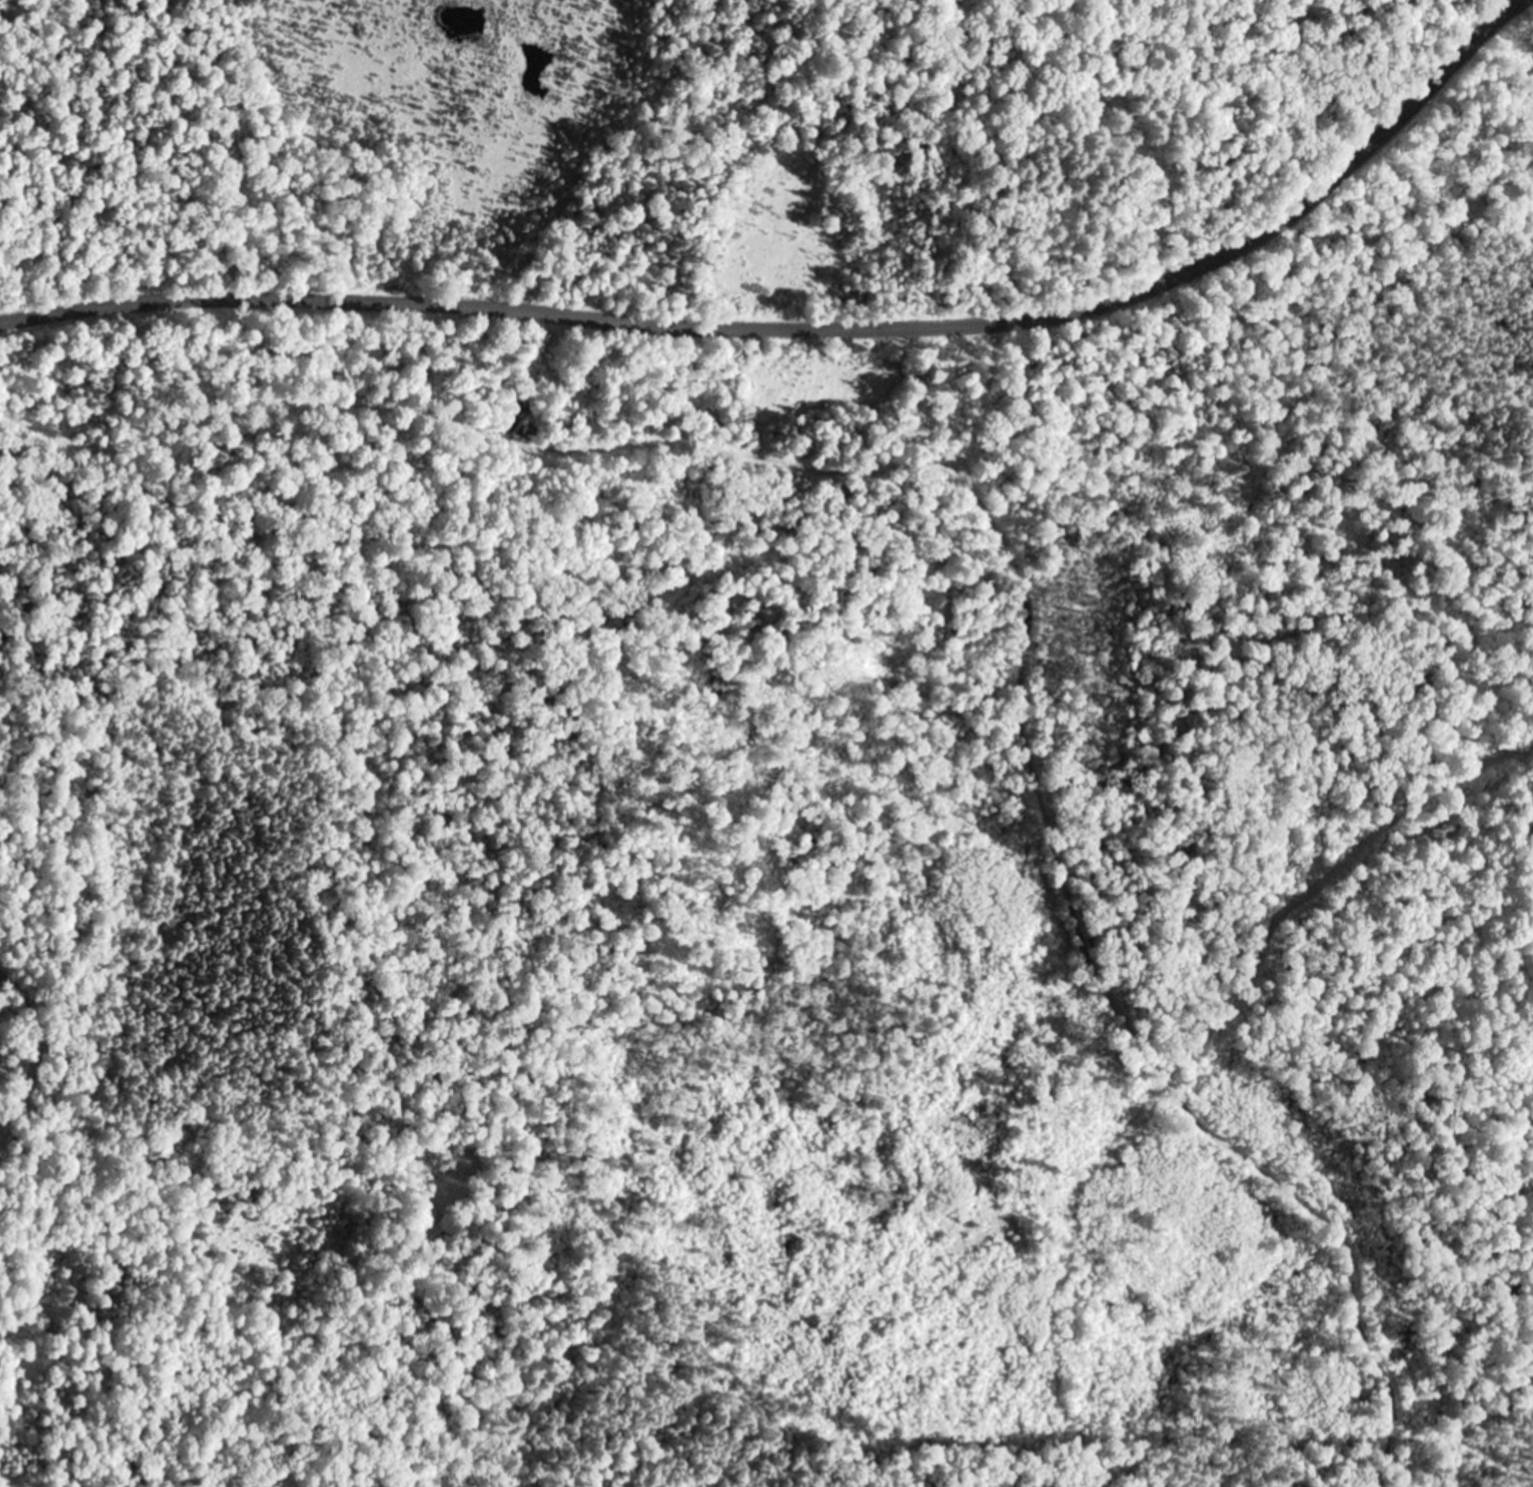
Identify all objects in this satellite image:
road: (809, 322)

